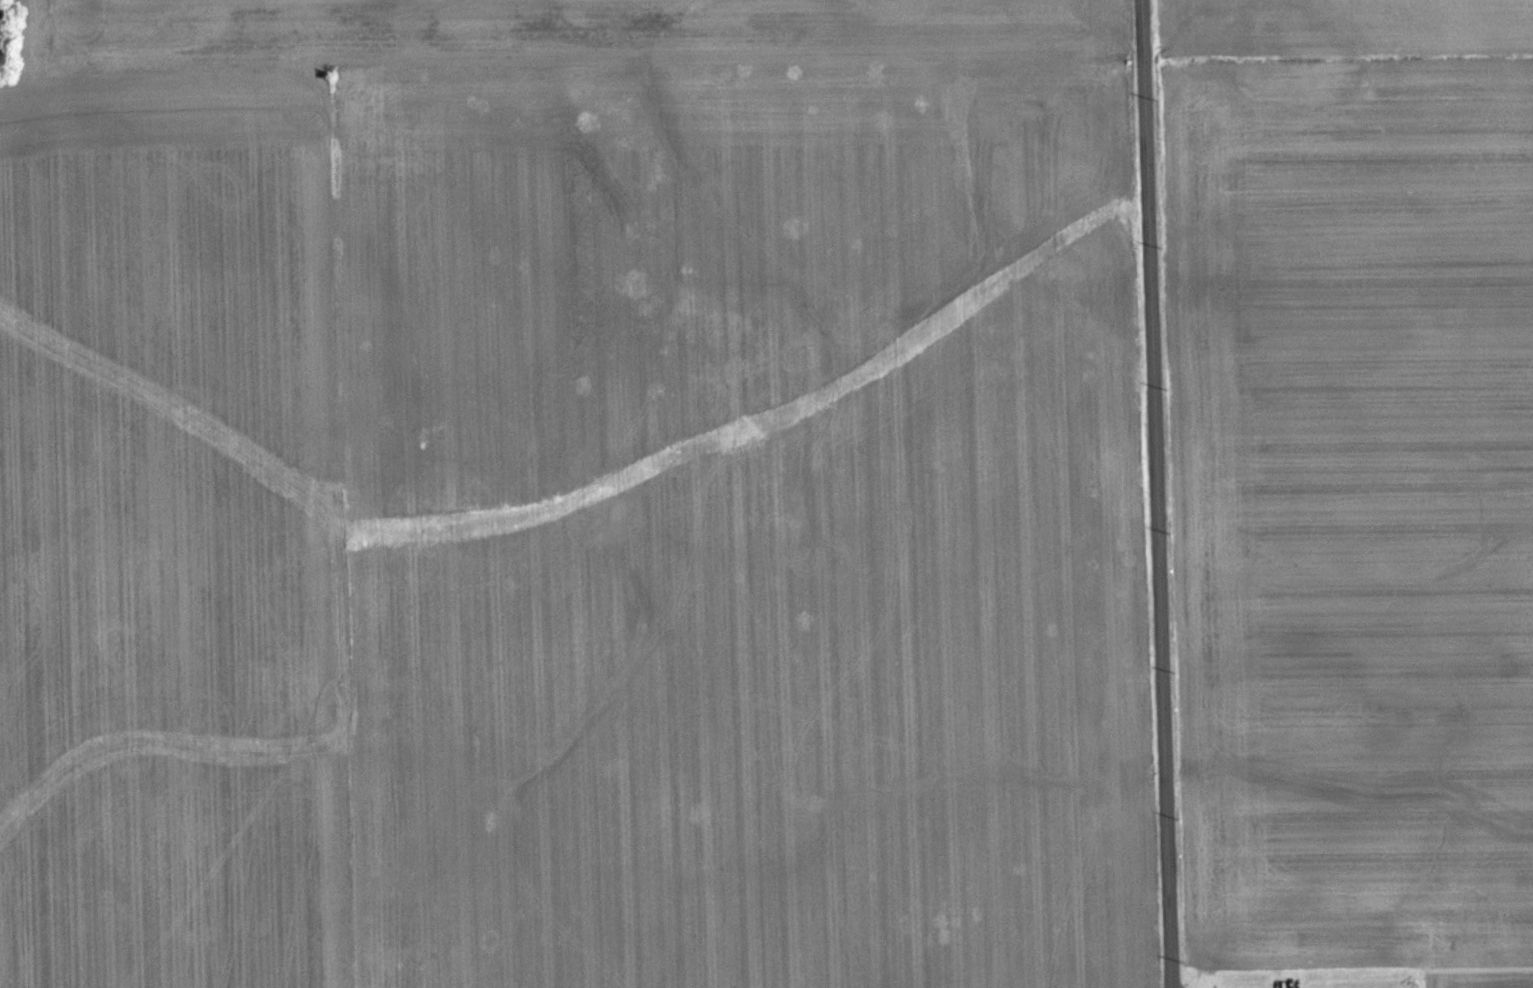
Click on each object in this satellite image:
road: (1154, 494)

